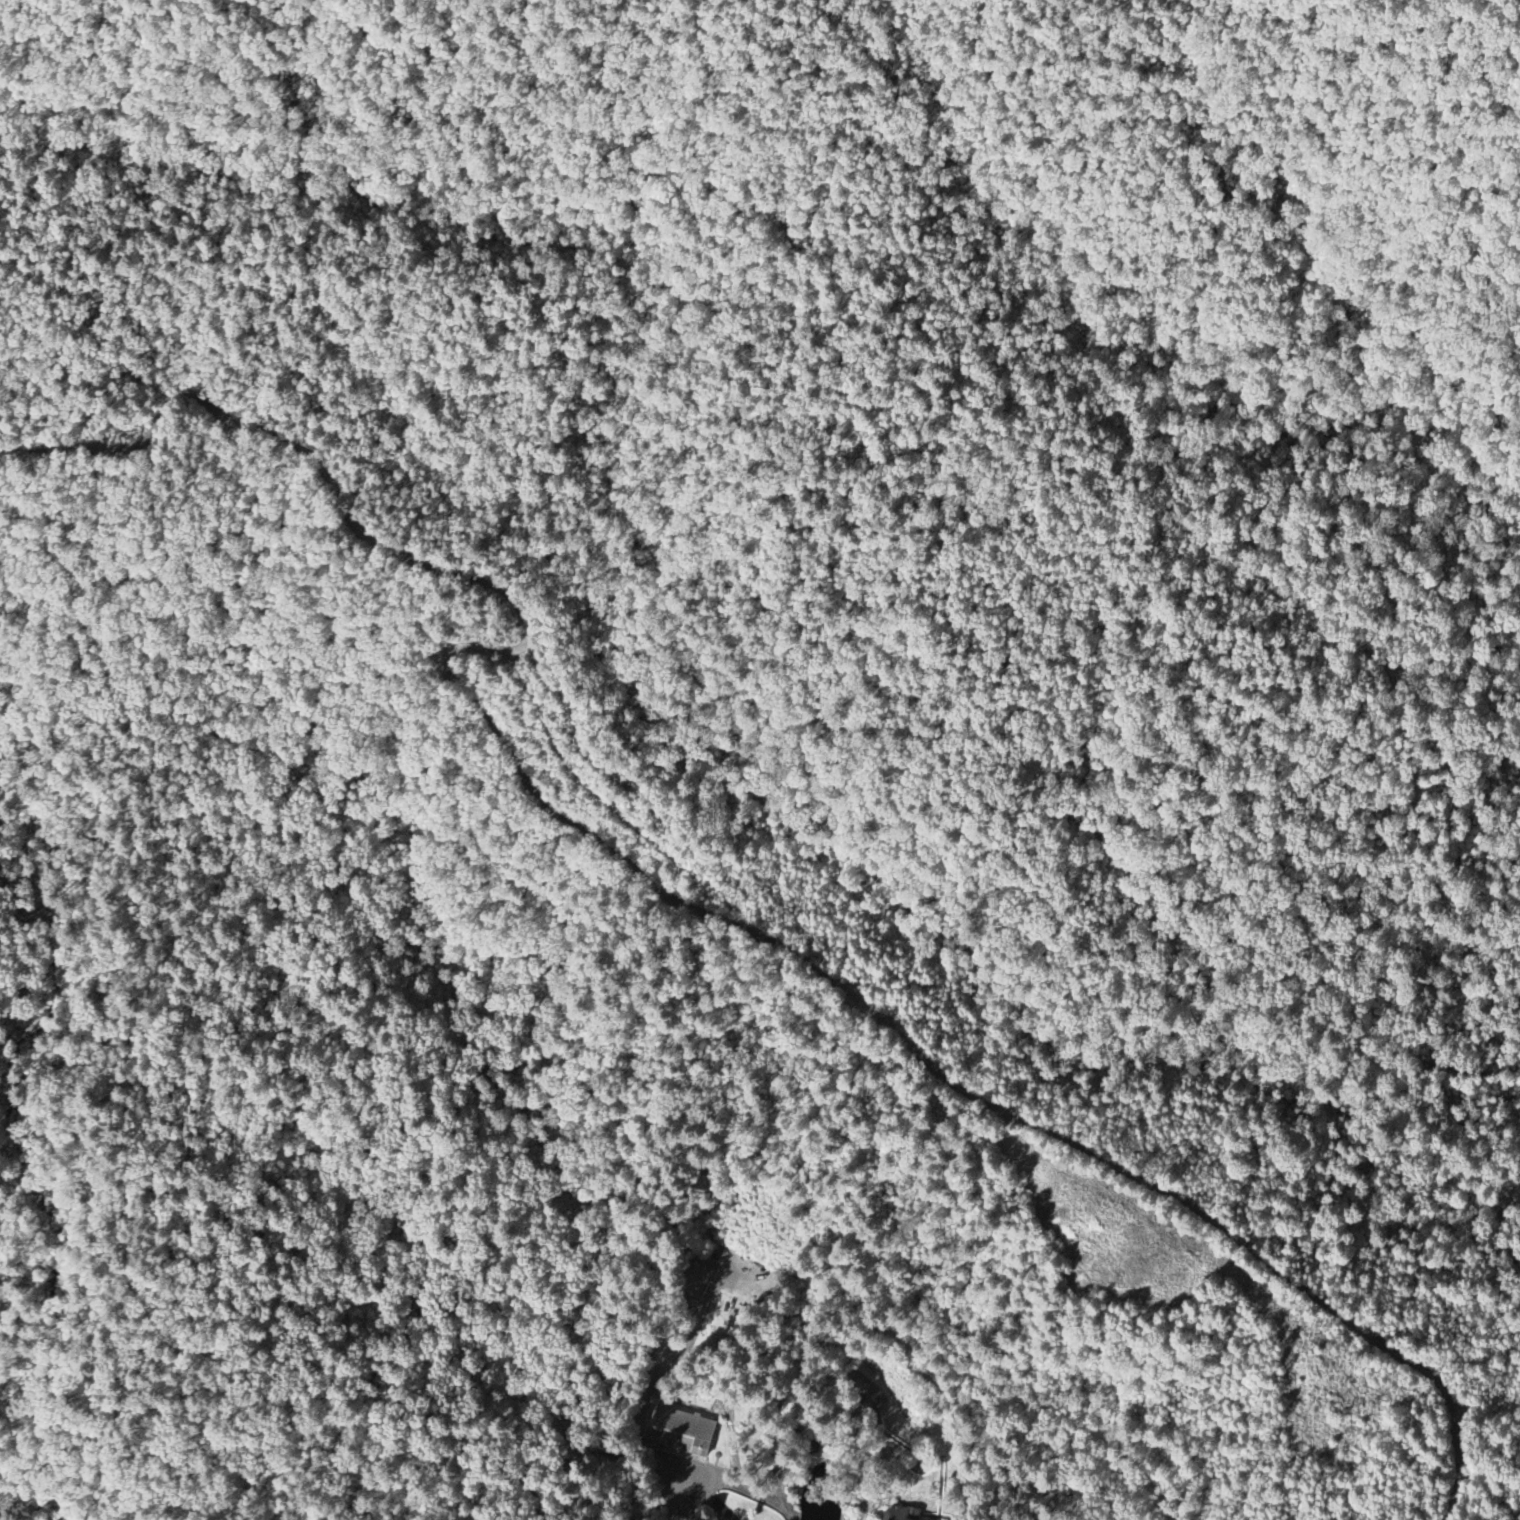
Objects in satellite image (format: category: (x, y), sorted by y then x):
building: (1515, 1195)
road: (816, 1386)
building: (872, 1398)
building: (682, 1432)
road: (649, 1451)
road: (54, 1461)
building: (904, 1514)

